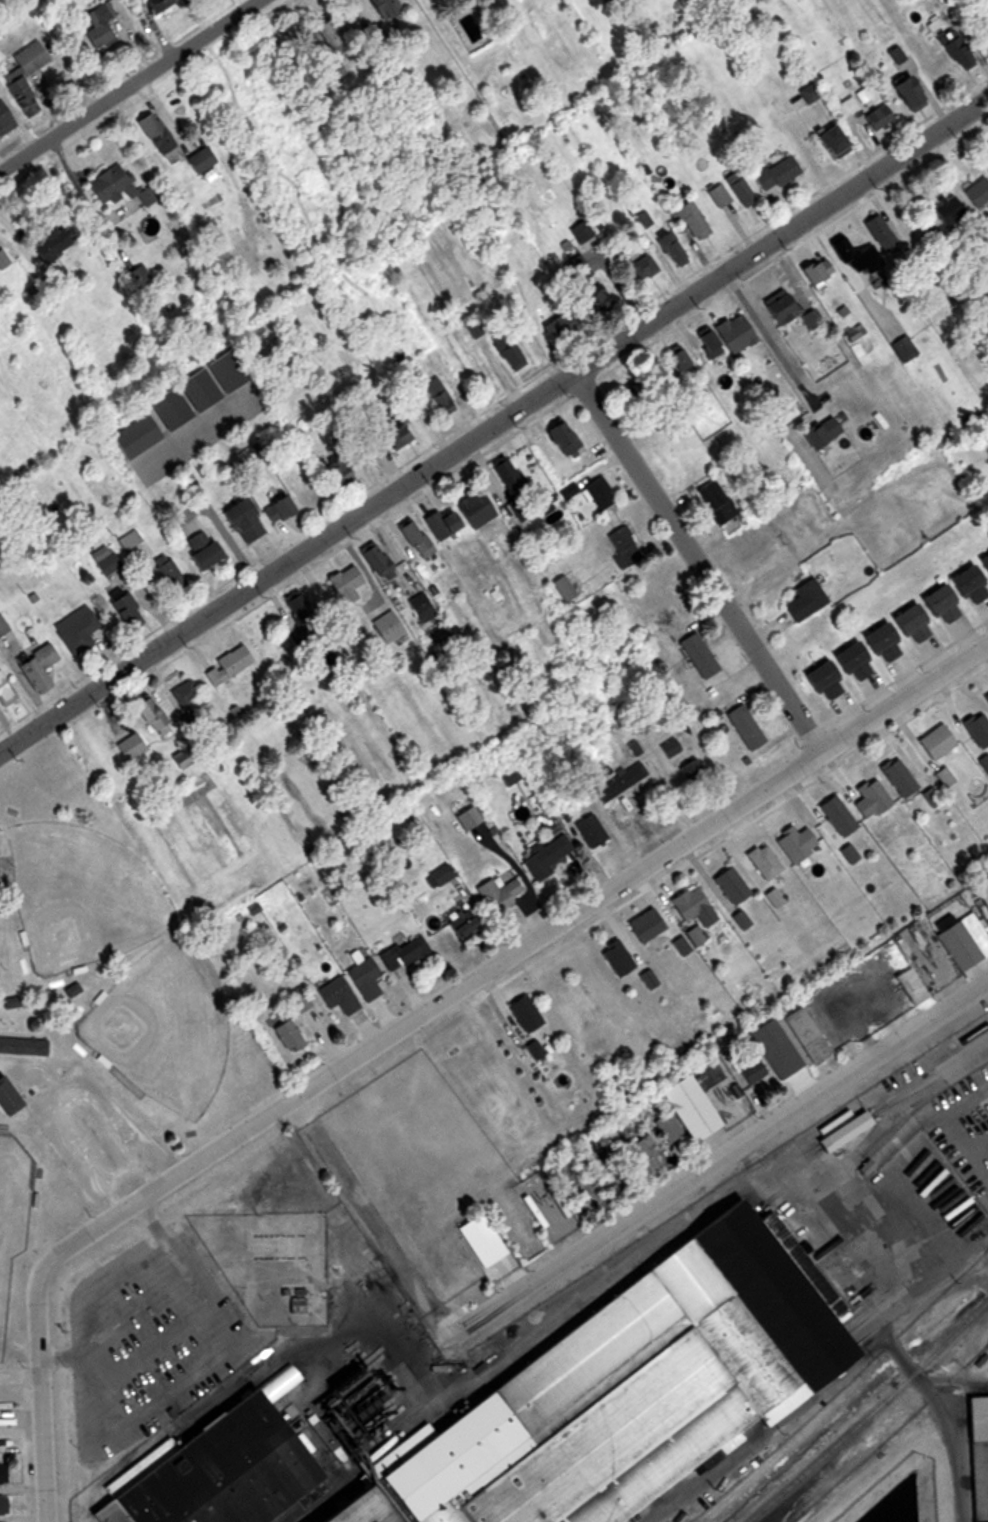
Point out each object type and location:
building: (987, 3)
building: (159, 5)
building: (382, 7)
building: (984, 22)
building: (98, 25)
building: (329, 34)
building: (955, 49)
building: (334, 71)
building: (24, 72)
road: (126, 83)
building: (904, 93)
building: (845, 108)
building: (876, 117)
building: (4, 119)
building: (155, 134)
building: (828, 141)
building: (198, 159)
building: (775, 173)
building: (115, 187)
building: (739, 189)
building: (976, 192)
building: (718, 195)
building: (947, 210)
building: (688, 217)
building: (581, 230)
building: (881, 234)
building: (50, 245)
building: (670, 249)
building: (856, 257)
building: (3, 259)
building: (641, 267)
building: (814, 269)
building: (584, 282)
building: (786, 310)
building: (724, 336)
road: (766, 337)
building: (903, 348)
building: (507, 351)
building: (679, 361)
building: (432, 398)
building: (181, 402)
road: (495, 426)
building: (394, 432)
building: (817, 432)
building: (562, 438)
building: (335, 474)
building: (506, 476)
building: (598, 493)
building: (714, 501)
building: (276, 509)
building: (460, 513)
building: (240, 521)
building: (414, 538)
building: (623, 546)
building: (200, 550)
building: (105, 561)
road: (700, 561)
building: (983, 563)
building: (382, 569)
building: (168, 574)
building: (344, 583)
building: (562, 587)
building: (654, 593)
building: (804, 599)
building: (295, 605)
building: (124, 611)
building: (922, 612)
building: (1, 624)
building: (386, 626)
building: (75, 630)
building: (696, 654)
building: (226, 665)
building: (36, 667)
building: (835, 670)
building: (183, 692)
building: (5, 693)
building: (986, 697)
building: (150, 715)
building: (743, 726)
building: (977, 729)
building: (933, 742)
building: (129, 747)
building: (668, 748)
building: (983, 762)
building: (691, 771)
building: (897, 777)
building: (943, 777)
building: (619, 782)
building: (869, 799)
building: (835, 816)
building: (466, 818)
building: (589, 830)
building: (794, 843)
building: (545, 856)
building: (762, 861)
building: (728, 884)
building: (309, 885)
building: (981, 890)
building: (497, 894)
building: (771, 897)
building: (685, 902)
park: (80, 903)
building: (739, 919)
building: (461, 923)
building: (644, 925)
building: (692, 936)
building: (963, 942)
building: (679, 945)
building: (402, 951)
building: (614, 958)
building: (362, 978)
building: (646, 979)
building: (914, 991)
building: (336, 995)
building: (297, 998)
building: (9, 1002)
park: (106, 1014)
building: (521, 1014)
road: (407, 1023)
park: (165, 1032)
building: (285, 1034)
building: (805, 1035)
building: (770, 1049)
building: (533, 1050)
building: (23, 1053)
building: (747, 1070)
road: (61, 1100)
building: (8, 1102)
building: (681, 1111)
building: (643, 1155)
road: (722, 1158)
road: (148, 1176)
road: (782, 1177)
road: (121, 1178)
road: (111, 1202)
road: (374, 1217)
park: (12, 1218)
road: (166, 1236)
building: (479, 1241)
road: (119, 1323)
road: (287, 1352)
building: (639, 1394)
railway: (873, 1418)
building: (978, 1457)
building: (5, 1474)
building: (233, 1477)
building: (7, 1506)
building: (346, 1510)

